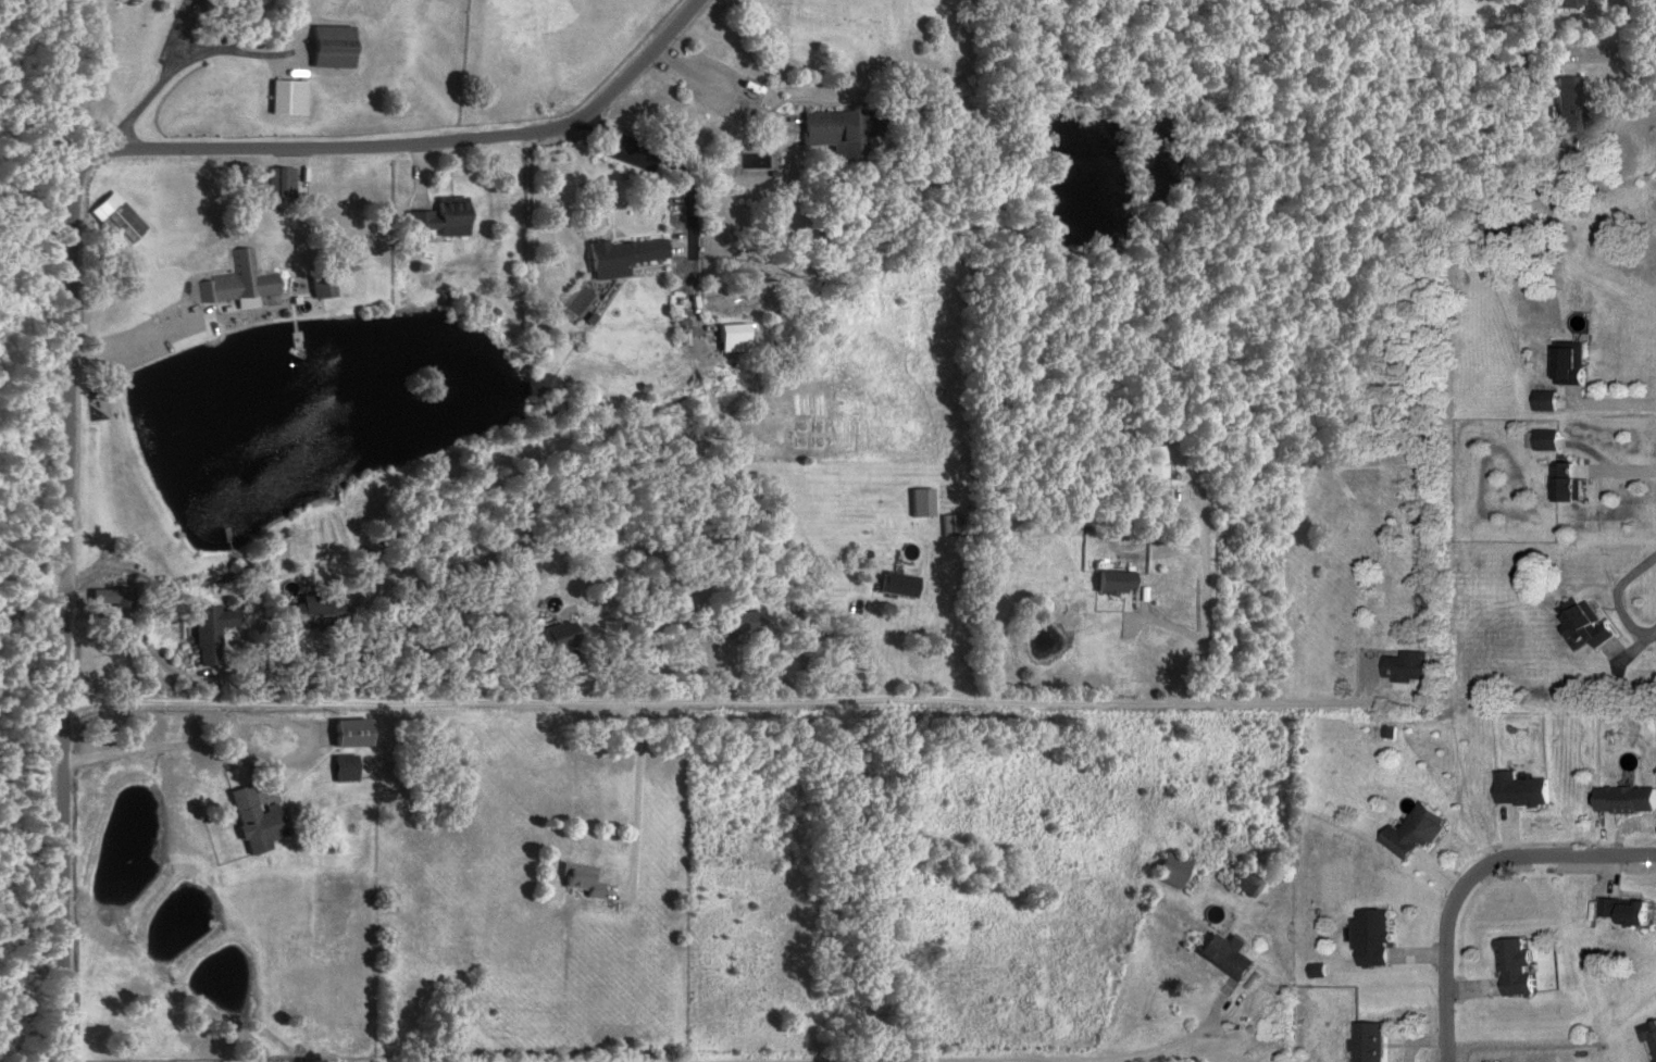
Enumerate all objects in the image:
building: (1562, 3)
road: (185, 30)
building: (334, 48)
road: (188, 60)
building: (1511, 60)
road: (725, 88)
building: (289, 98)
building: (1570, 104)
building: (846, 132)
road: (683, 202)
building: (444, 217)
road: (536, 255)
building: (624, 258)
road: (71, 274)
building: (239, 282)
building: (323, 285)
road: (161, 338)
building: (733, 338)
building: (1571, 365)
building: (541, 386)
building: (1547, 401)
building: (1156, 462)
building: (1570, 482)
building: (954, 525)
building: (1117, 582)
building: (899, 585)
building: (112, 598)
road: (1206, 600)
building: (321, 611)
building: (1584, 623)
building: (732, 625)
building: (210, 633)
building: (551, 639)
building: (1409, 666)
road: (729, 704)
building: (353, 734)
building: (346, 770)
building: (1521, 790)
road: (1465, 799)
building: (1626, 800)
road: (637, 809)
building: (257, 822)
building: (1414, 834)
building: (1171, 871)
road: (1472, 878)
building: (582, 885)
building: (1630, 912)
building: (1373, 938)
building: (1228, 955)
building: (1516, 969)
building: (1648, 1035)
building: (1369, 1042)
road: (1180, 1046)

